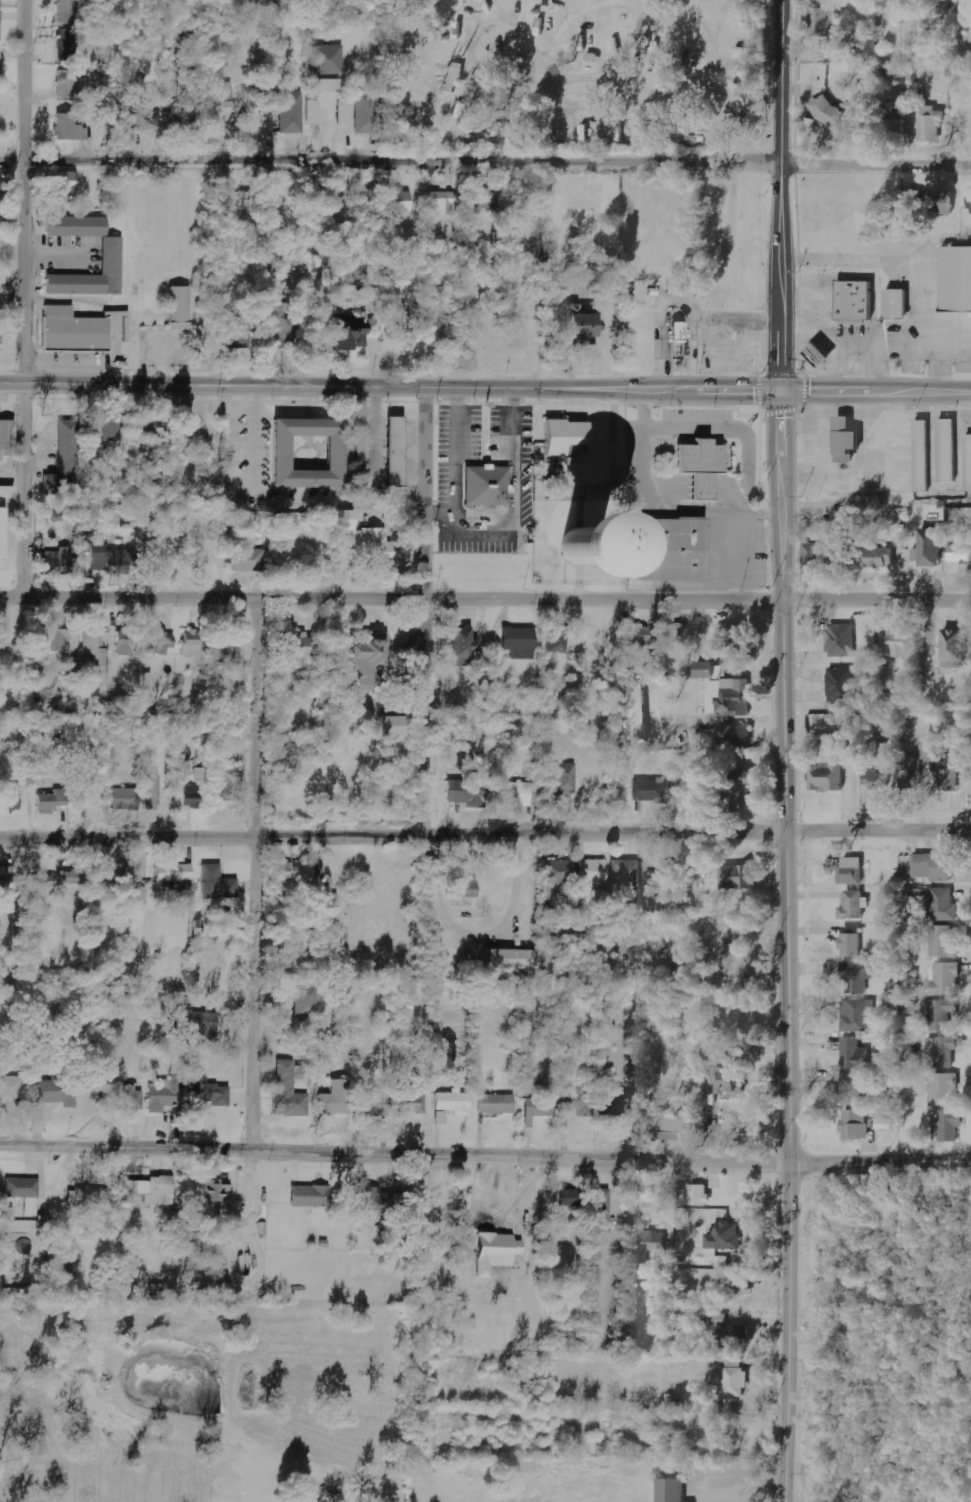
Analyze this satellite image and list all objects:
building: (0, 1)
building: (68, 12)
building: (824, 23)
building: (0, 27)
building: (67, 46)
building: (329, 60)
building: (0, 66)
building: (68, 85)
building: (329, 86)
building: (227, 95)
building: (345, 112)
building: (291, 113)
building: (313, 113)
building: (367, 113)
building: (836, 115)
building: (145, 116)
building: (180, 116)
building: (932, 123)
building: (70, 128)
building: (894, 130)
building: (509, 132)
road: (485, 161)
building: (63, 181)
building: (0, 186)
road: (30, 190)
road: (781, 195)
building: (945, 197)
building: (909, 200)
building: (237, 201)
building: (485, 201)
building: (400, 202)
building: (442, 202)
building: (970, 202)
building: (107, 257)
building: (953, 280)
building: (849, 302)
building: (891, 306)
building: (181, 307)
building: (410, 316)
building: (583, 323)
building: (67, 332)
building: (681, 332)
building: (281, 333)
building: (239, 335)
building: (352, 338)
building: (586, 342)
building: (813, 354)
gas station: (813, 354)
building: (823, 355)
road: (485, 390)
traffic signals: (779, 392)
building: (151, 428)
building: (113, 432)
building: (559, 437)
building: (7, 439)
building: (355, 449)
building: (942, 451)
building: (398, 452)
building: (313, 454)
building: (389, 454)
building: (833, 454)
building: (917, 457)
building: (66, 462)
building: (966, 463)
building: (696, 469)
building: (482, 488)
road: (25, 489)
building: (809, 493)
building: (842, 519)
building: (4, 534)
building: (366, 547)
building: (934, 547)
building: (530, 552)
building: (667, 552)
building: (960, 553)
building: (107, 557)
building: (813, 557)
building: (841, 557)
building: (879, 557)
building: (248, 560)
building: (59, 563)
road: (485, 600)
road: (421, 612)
building: (557, 638)
building: (640, 638)
building: (55, 639)
building: (842, 640)
building: (125, 642)
building: (738, 642)
building: (159, 643)
building: (192, 643)
building: (521, 643)
building: (896, 643)
building: (226, 645)
building: (95, 646)
building: (465, 647)
building: (956, 649)
building: (304, 655)
building: (712, 670)
building: (841, 685)
building: (730, 697)
building: (638, 710)
building: (395, 726)
building: (736, 735)
building: (930, 750)
building: (829, 770)
building: (951, 773)
building: (911, 775)
building: (562, 779)
building: (877, 781)
building: (230, 791)
building: (467, 791)
building: (651, 791)
building: (151, 793)
building: (743, 793)
building: (515, 794)
building: (188, 796)
building: (14, 798)
building: (126, 799)
building: (53, 801)
road: (485, 835)
building: (705, 865)
building: (935, 867)
building: (853, 871)
building: (174, 872)
building: (559, 872)
building: (593, 872)
building: (304, 874)
building: (626, 874)
building: (71, 877)
building: (739, 877)
road: (254, 878)
building: (9, 879)
building: (42, 883)
building: (218, 883)
building: (466, 888)
building: (855, 905)
building: (942, 906)
building: (944, 942)
building: (853, 945)
road: (784, 947)
building: (515, 960)
building: (857, 976)
building: (946, 979)
building: (307, 1000)
building: (939, 1014)
building: (858, 1015)
building: (204, 1029)
building: (944, 1050)
building: (854, 1054)
building: (733, 1082)
building: (853, 1088)
building: (943, 1089)
building: (57, 1091)
building: (289, 1092)
building: (12, 1096)
building: (218, 1096)
building: (337, 1098)
building: (129, 1099)
building: (162, 1099)
building: (411, 1101)
building: (454, 1102)
building: (578, 1103)
building: (496, 1104)
building: (378, 1105)
building: (540, 1108)
building: (441, 1118)
building: (949, 1124)
building: (862, 1125)
building: (673, 1126)
road: (392, 1158)
road: (878, 1164)
building: (153, 1189)
building: (25, 1193)
building: (218, 1193)
building: (700, 1195)
building: (312, 1197)
building: (567, 1198)
building: (89, 1199)
building: (381, 1201)
building: (602, 1211)
building: (725, 1237)
building: (649, 1247)
building: (722, 1263)
building: (742, 1285)
building: (735, 1335)
building: (735, 1383)
building: (672, 1490)

